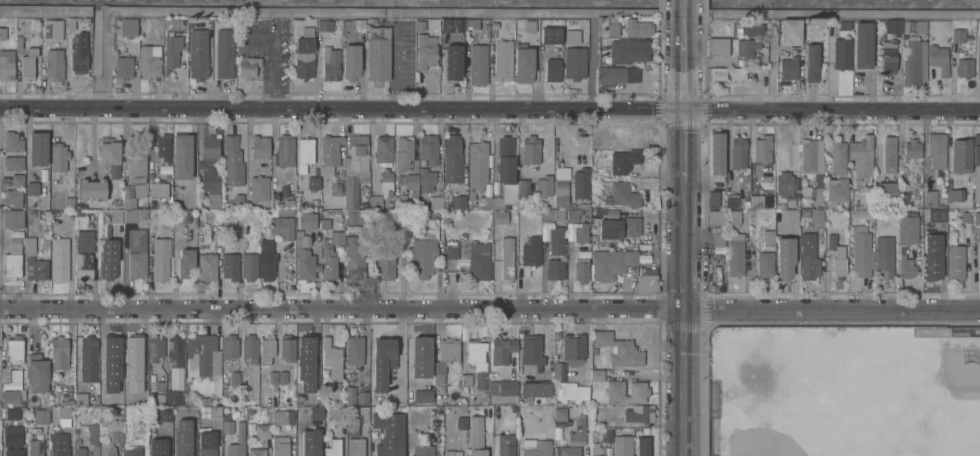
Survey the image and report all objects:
road: (682, 9)
building: (371, 19)
building: (470, 22)
building: (324, 24)
building: (357, 24)
building: (447, 24)
building: (844, 24)
building: (890, 24)
building: (419, 26)
building: (914, 26)
building: (49, 27)
building: (128, 27)
building: (493, 28)
building: (611, 28)
building: (636, 29)
road: (682, 29)
building: (754, 29)
building: (2, 30)
building: (789, 31)
building: (550, 35)
building: (958, 35)
building: (571, 38)
building: (174, 40)
building: (530, 41)
building: (19, 43)
building: (863, 43)
building: (718, 46)
building: (744, 48)
building: (628, 50)
building: (425, 51)
building: (224, 52)
building: (377, 52)
building: (79, 53)
building: (198, 53)
building: (305, 53)
building: (523, 53)
building: (841, 53)
building: (887, 54)
road: (274, 56)
building: (978, 57)
building: (502, 58)
building: (938, 58)
building: (149, 61)
building: (351, 61)
building: (453, 61)
building: (28, 62)
building: (574, 62)
building: (812, 62)
building: (330, 63)
building: (477, 63)
building: (914, 63)
building: (7, 64)
building: (54, 64)
road: (391, 65)
road: (592, 65)
building: (123, 66)
building: (248, 66)
road: (772, 67)
building: (788, 67)
building: (964, 67)
building: (552, 69)
building: (653, 71)
building: (718, 73)
building: (737, 73)
building: (616, 74)
road: (682, 74)
road: (490, 107)
building: (12, 141)
road: (682, 144)
building: (259, 146)
building: (164, 147)
building: (210, 147)
building: (429, 147)
building: (383, 148)
building: (762, 148)
building: (912, 148)
building: (37, 149)
building: (285, 149)
building: (530, 149)
building: (936, 149)
building: (404, 151)
building: (738, 152)
building: (305, 153)
building: (330, 153)
building: (717, 153)
building: (889, 153)
building: (110, 154)
building: (840, 155)
building: (961, 155)
building: (58, 156)
building: (183, 156)
building: (862, 157)
building: (232, 159)
building: (452, 159)
building: (506, 159)
building: (623, 160)
building: (13, 162)
building: (137, 165)
building: (476, 166)
building: (812, 166)
building: (976, 167)
building: (355, 168)
building: (210, 178)
building: (17, 179)
building: (400, 179)
building: (426, 179)
building: (803, 180)
building: (313, 182)
building: (386, 182)
building: (412, 183)
building: (580, 184)
building: (336, 185)
building: (375, 185)
building: (544, 185)
building: (561, 186)
building: (259, 187)
building: (786, 187)
building: (92, 188)
building: (32, 189)
building: (140, 189)
building: (158, 189)
building: (836, 190)
building: (885, 190)
building: (523, 192)
building: (622, 194)
building: (955, 195)
building: (129, 196)
building: (13, 197)
building: (930, 197)
building: (238, 198)
building: (903, 198)
building: (214, 200)
building: (713, 200)
building: (732, 200)
building: (117, 201)
building: (401, 201)
building: (458, 201)
building: (757, 201)
building: (376, 202)
building: (437, 202)
building: (485, 202)
building: (499, 202)
building: (69, 203)
building: (286, 203)
building: (721, 203)
building: (599, 210)
building: (285, 212)
building: (805, 212)
building: (902, 212)
building: (548, 214)
building: (573, 214)
building: (792, 214)
building: (860, 214)
building: (116, 215)
building: (130, 215)
building: (560, 215)
building: (935, 215)
building: (181, 216)
building: (357, 216)
building: (500, 216)
building: (734, 216)
building: (966, 216)
building: (716, 217)
building: (977, 217)
building: (13, 218)
building: (390, 219)
building: (307, 220)
building: (282, 226)
building: (430, 226)
building: (619, 227)
building: (907, 229)
building: (942, 229)
building: (581, 233)
building: (594, 237)
building: (768, 237)
building: (137, 239)
building: (556, 240)
building: (716, 241)
building: (451, 251)
building: (530, 253)
building: (862, 253)
building: (84, 254)
building: (330, 254)
building: (735, 254)
building: (785, 256)
building: (884, 256)
building: (305, 257)
building: (423, 257)
building: (837, 257)
building: (13, 258)
building: (59, 258)
building: (109, 258)
building: (161, 258)
building: (354, 258)
building: (507, 258)
building: (267, 259)
building: (808, 259)
building: (478, 260)
building: (34, 261)
building: (385, 261)
building: (932, 261)
building: (185, 262)
building: (611, 262)
building: (956, 262)
building: (979, 262)
building: (765, 263)
building: (137, 264)
building: (230, 265)
building: (207, 266)
building: (249, 266)
building: (905, 266)
building: (555, 269)
building: (581, 269)
building: (647, 282)
road: (490, 308)
road: (681, 318)
building: (229, 346)
building: (250, 346)
building: (155, 347)
building: (286, 347)
building: (306, 347)
building: (14, 348)
building: (267, 348)
building: (573, 348)
building: (619, 349)
building: (502, 350)
building: (354, 351)
building: (59, 352)
building: (135, 352)
building: (204, 353)
building: (531, 353)
building: (109, 357)
building: (332, 357)
building: (421, 357)
building: (445, 357)
building: (88, 358)
building: (478, 360)
building: (382, 362)
park: (960, 366)
building: (175, 370)
building: (559, 371)
building: (37, 372)
building: (15, 374)
building: (596, 375)
building: (272, 376)
building: (282, 376)
building: (244, 377)
building: (312, 377)
building: (261, 378)
building: (234, 379)
building: (467, 379)
building: (337, 385)
building: (160, 386)
building: (503, 387)
building: (535, 389)
park: (840, 389)
building: (441, 390)
building: (571, 390)
building: (639, 391)
building: (139, 394)
building: (14, 395)
building: (350, 395)
building: (422, 396)
building: (362, 397)
building: (81, 398)
building: (153, 398)
building: (161, 400)
building: (525, 401)
building: (510, 410)
building: (215, 411)
building: (275, 411)
building: (12, 412)
building: (64, 412)
building: (305, 412)
building: (336, 412)
building: (315, 413)
building: (560, 413)
building: (360, 414)
building: (639, 414)
building: (165, 415)
building: (41, 416)
building: (285, 416)
building: (77, 417)
building: (462, 422)
building: (607, 422)
building: (227, 423)
building: (339, 423)
building: (189, 428)
building: (110, 430)
building: (262, 430)
building: (352, 430)
building: (577, 432)
building: (389, 433)
building: (12, 435)
building: (606, 435)
building: (477, 436)
building: (144, 439)
building: (90, 442)
building: (237, 442)
park: (755, 442)
building: (207, 443)
building: (35, 444)
building: (59, 444)
building: (280, 445)
building: (506, 445)
building: (355, 446)
building: (422, 446)
building: (642, 446)
building: (333, 447)
building: (158, 448)
building: (311, 448)
building: (539, 449)
building: (597, 449)
building: (133, 450)
building: (14, 451)
building: (569, 451)
building: (618, 451)
building: (257, 452)
building: (452, 452)
building: (183, 453)

